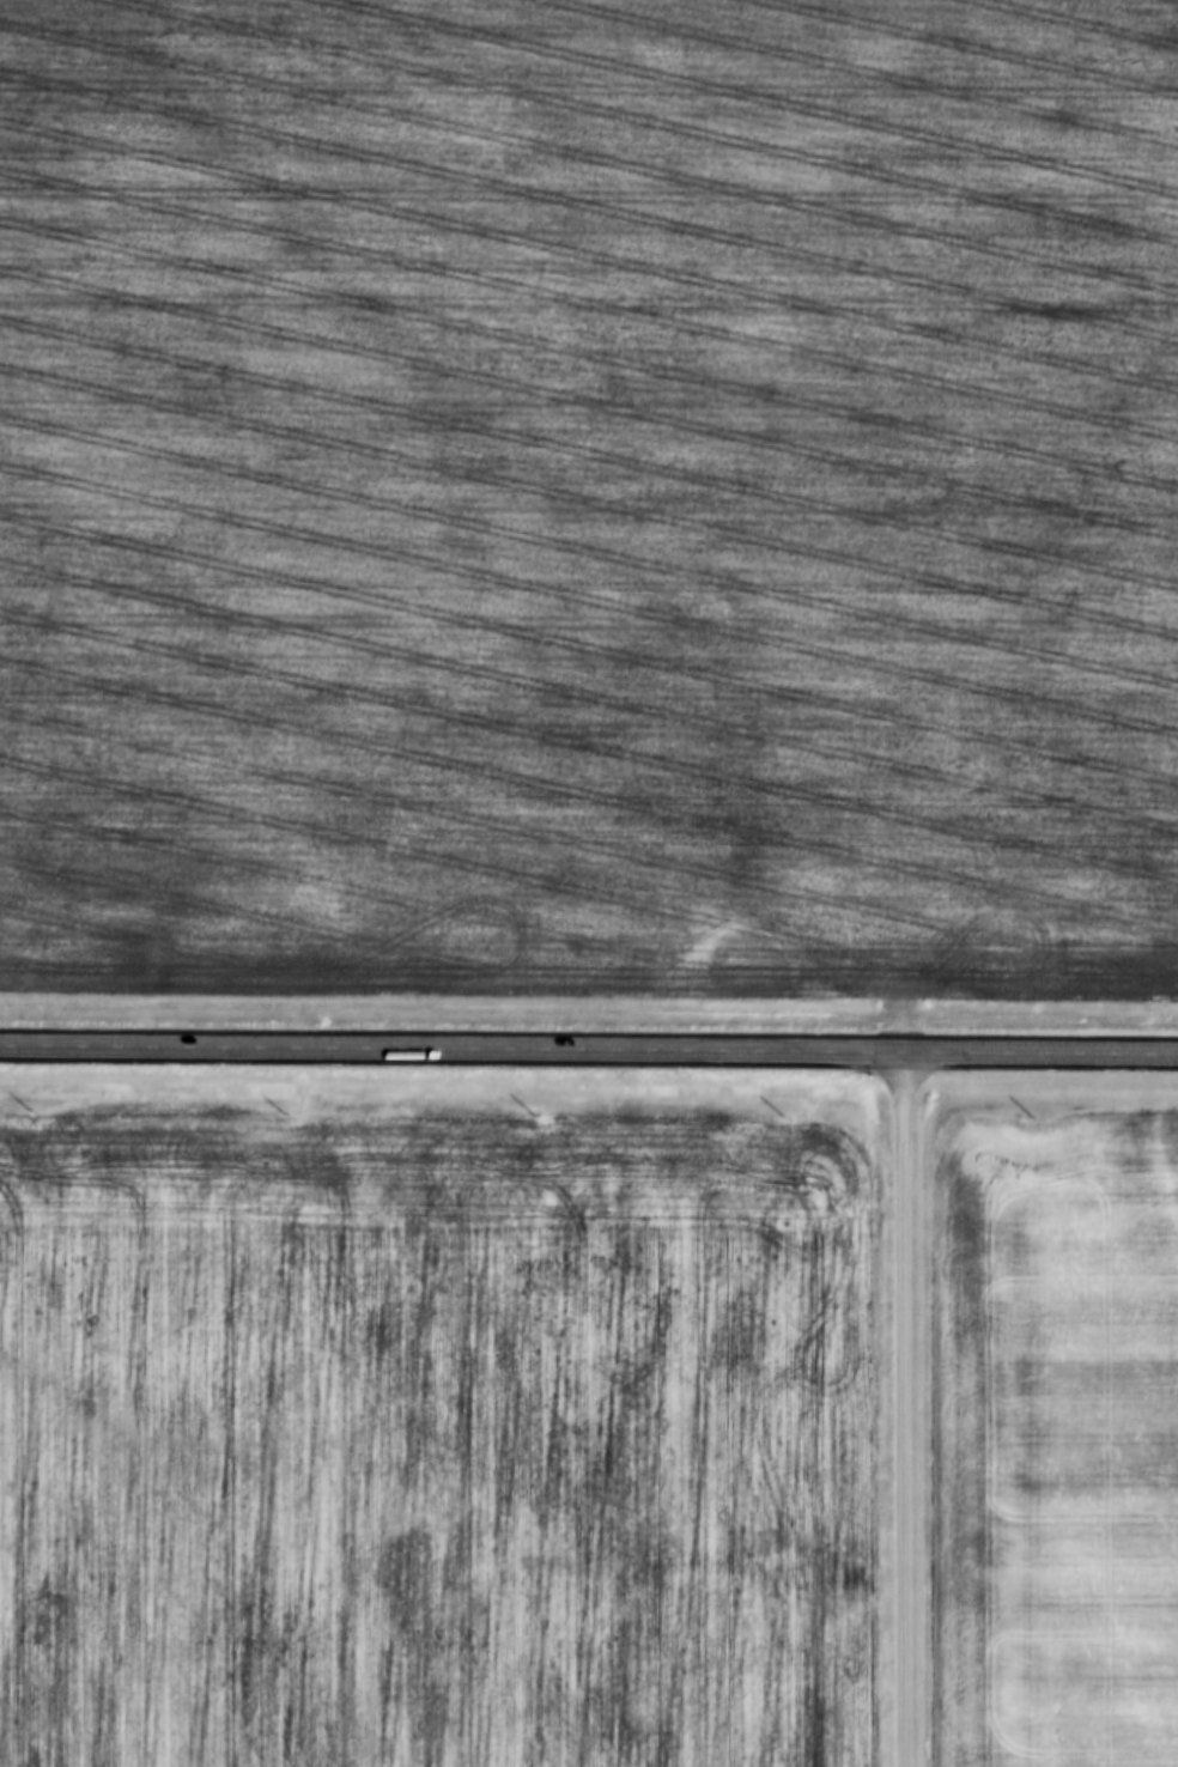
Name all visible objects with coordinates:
road: (589, 1050)
road: (900, 1409)
crop: (438, 1439)
crop: (1055, 1440)

